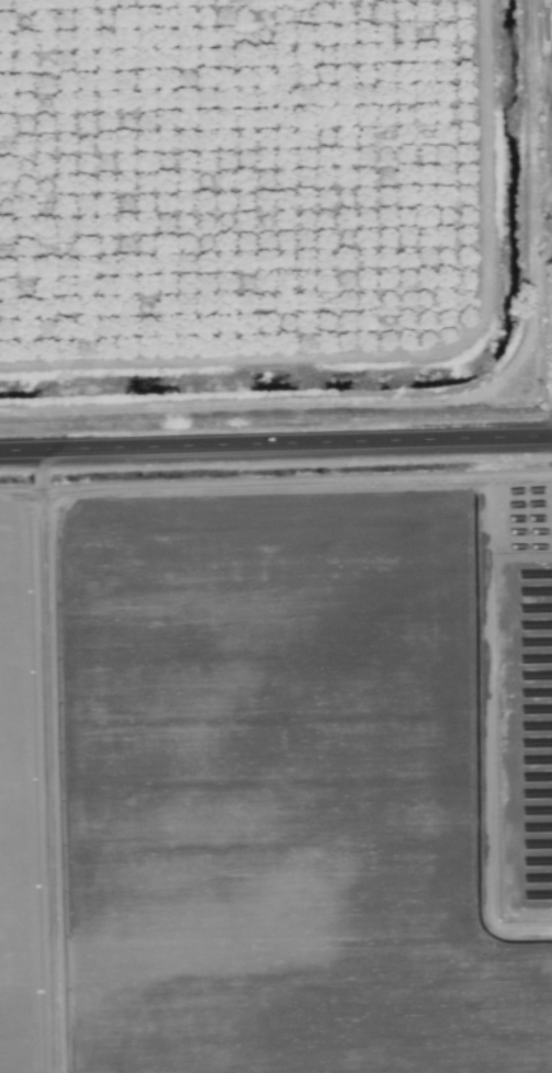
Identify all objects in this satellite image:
road: (275, 447)

